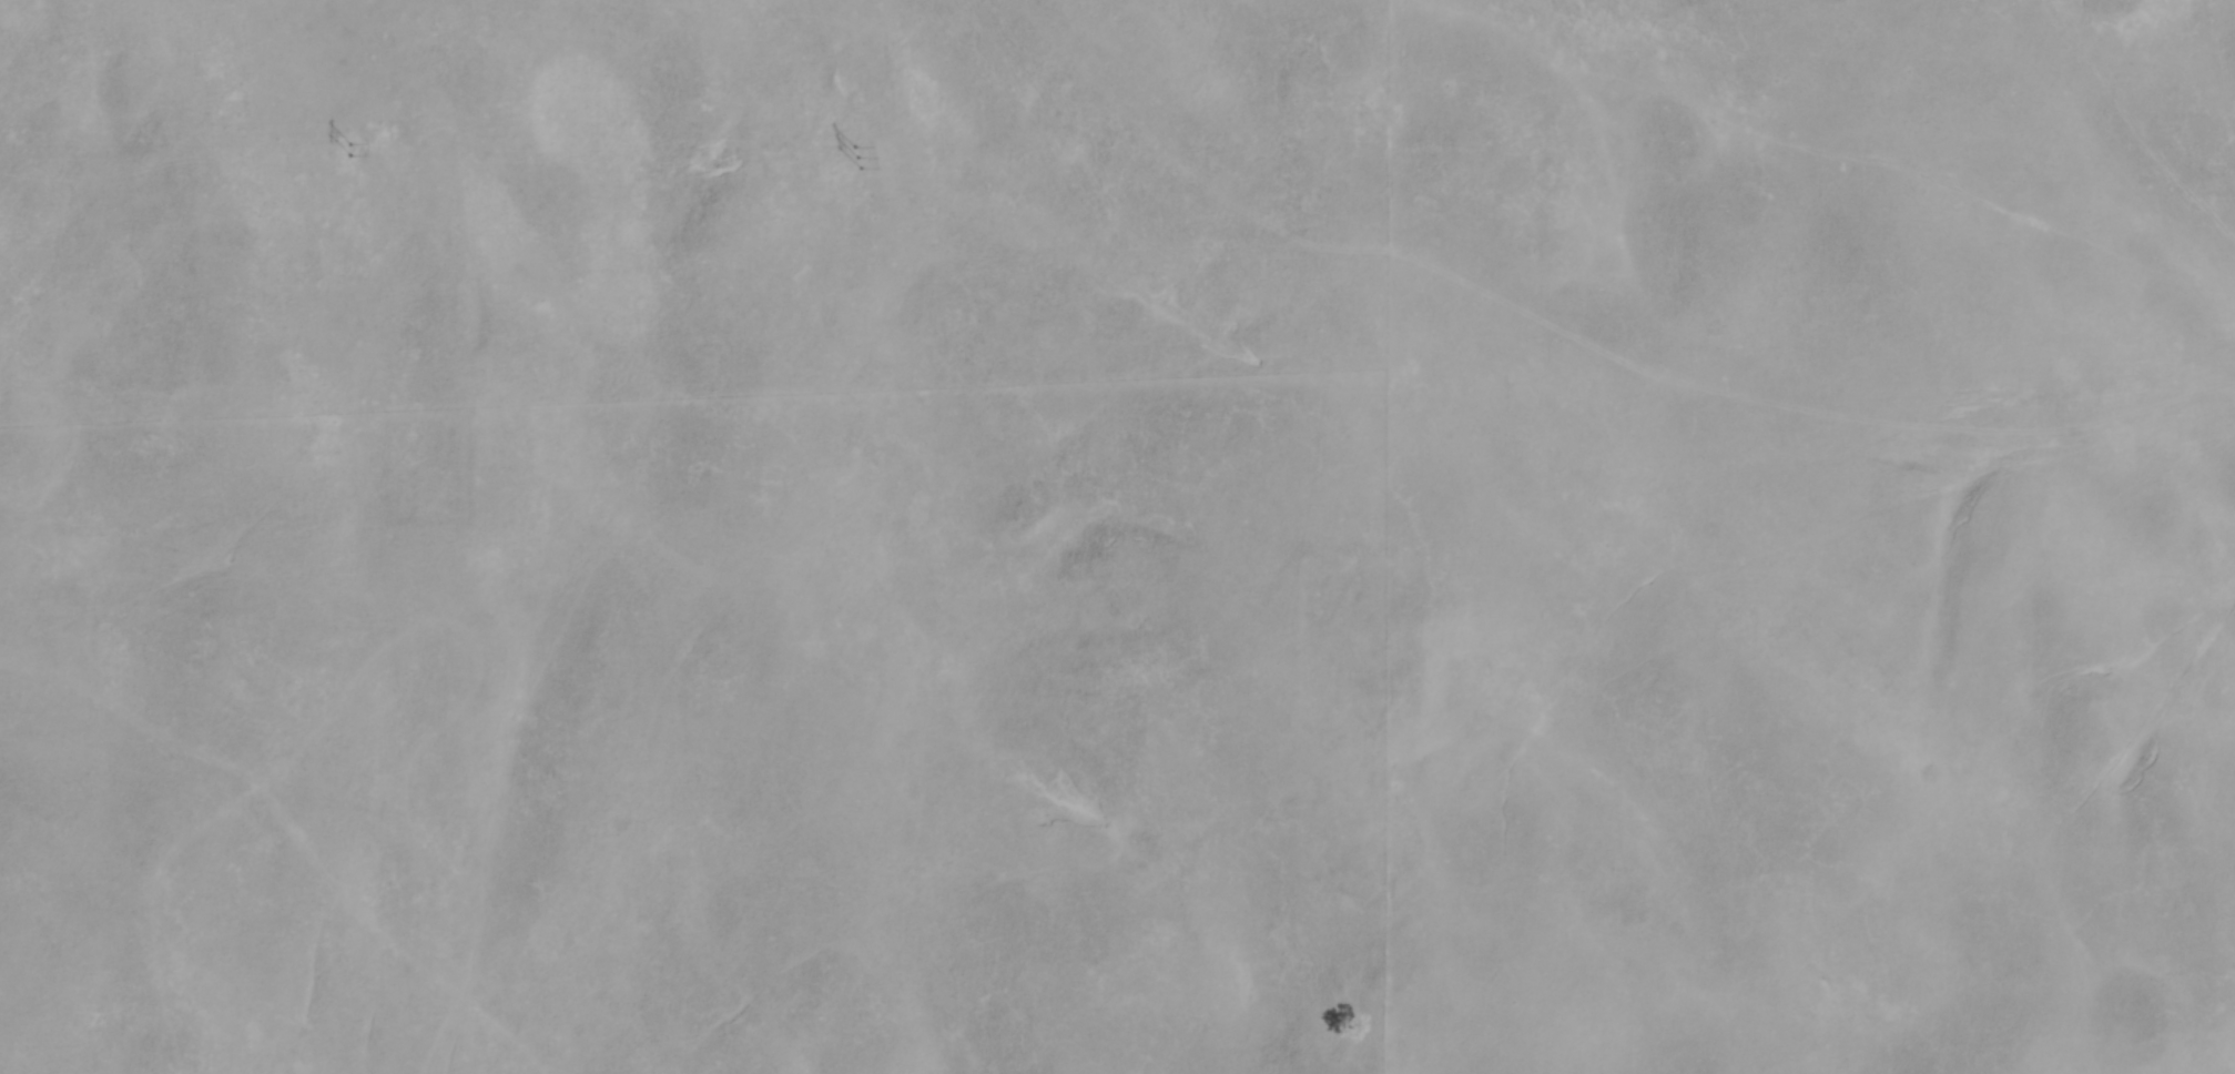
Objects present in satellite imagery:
power tower: (349, 150)
power tower: (856, 156)

